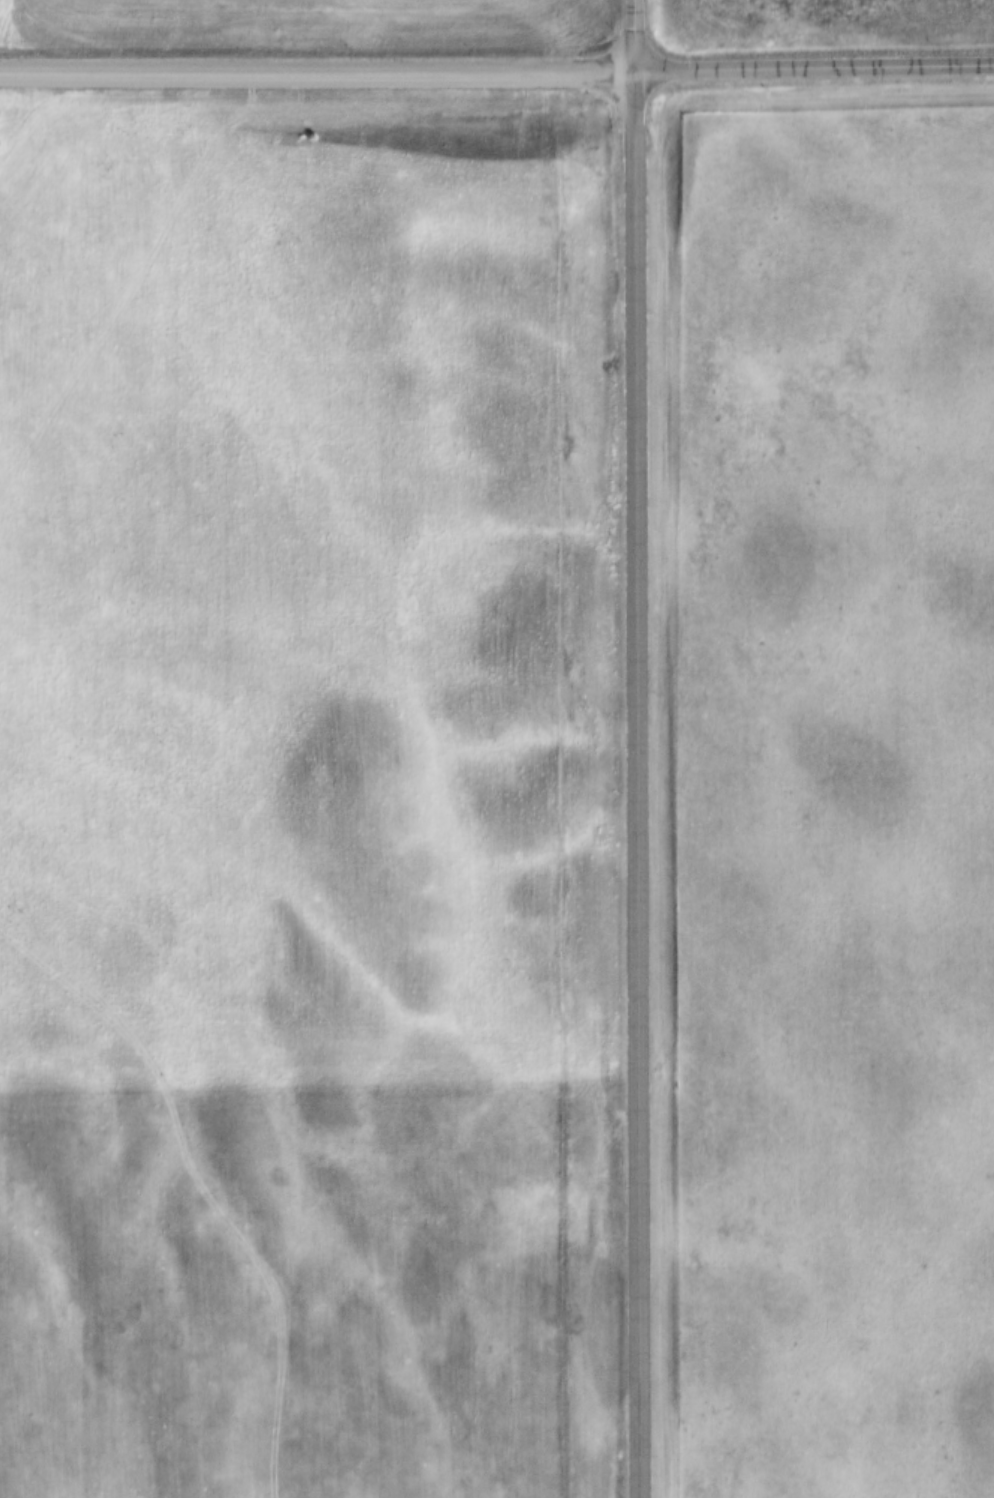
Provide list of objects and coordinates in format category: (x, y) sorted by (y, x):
road: (635, 33)
road: (814, 65)
road: (317, 70)
road: (637, 782)

